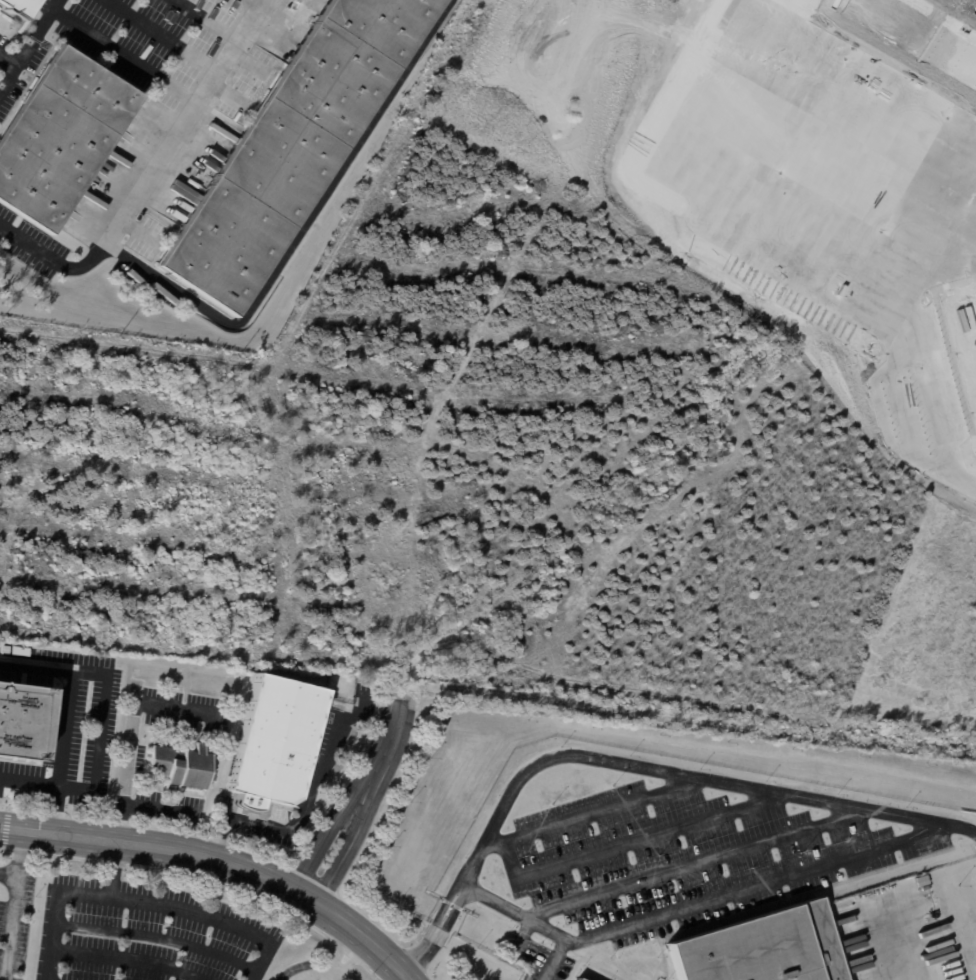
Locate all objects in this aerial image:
building: (21, 7)
road: (208, 18)
road: (161, 35)
road: (29, 45)
road: (124, 54)
road: (8, 60)
road: (183, 120)
building: (62, 138)
building: (297, 147)
road: (305, 231)
road: (53, 259)
building: (6, 649)
building: (22, 651)
road: (35, 662)
road: (357, 693)
road: (105, 694)
building: (25, 723)
road: (132, 731)
road: (384, 736)
building: (276, 742)
road: (632, 764)
building: (182, 766)
road: (29, 781)
road: (304, 797)
road: (179, 809)
road: (11, 828)
road: (325, 834)
road: (346, 845)
road: (20, 853)
parking lot: (673, 862)
road: (690, 863)
road: (233, 864)
road: (116, 869)
road: (9, 874)
road: (751, 886)
building: (854, 899)
road: (54, 911)
road: (210, 916)
road: (533, 922)
road: (12, 928)
parking lot: (149, 933)
road: (912, 944)
road: (342, 947)
building: (761, 948)
road: (355, 958)
road: (329, 974)
building: (579, 978)

